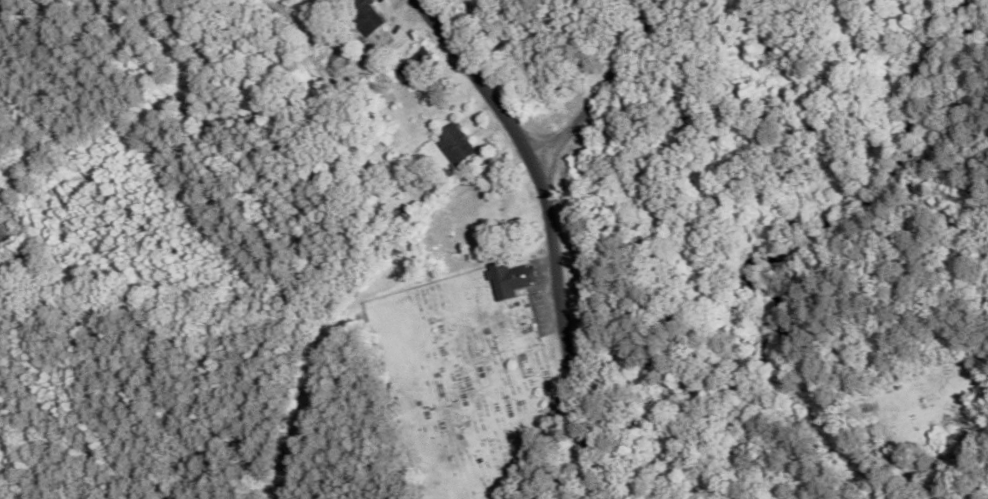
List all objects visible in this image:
road: (655, 6)
building: (364, 16)
building: (420, 67)
road: (607, 86)
building: (455, 145)
road: (552, 235)
building: (511, 281)

